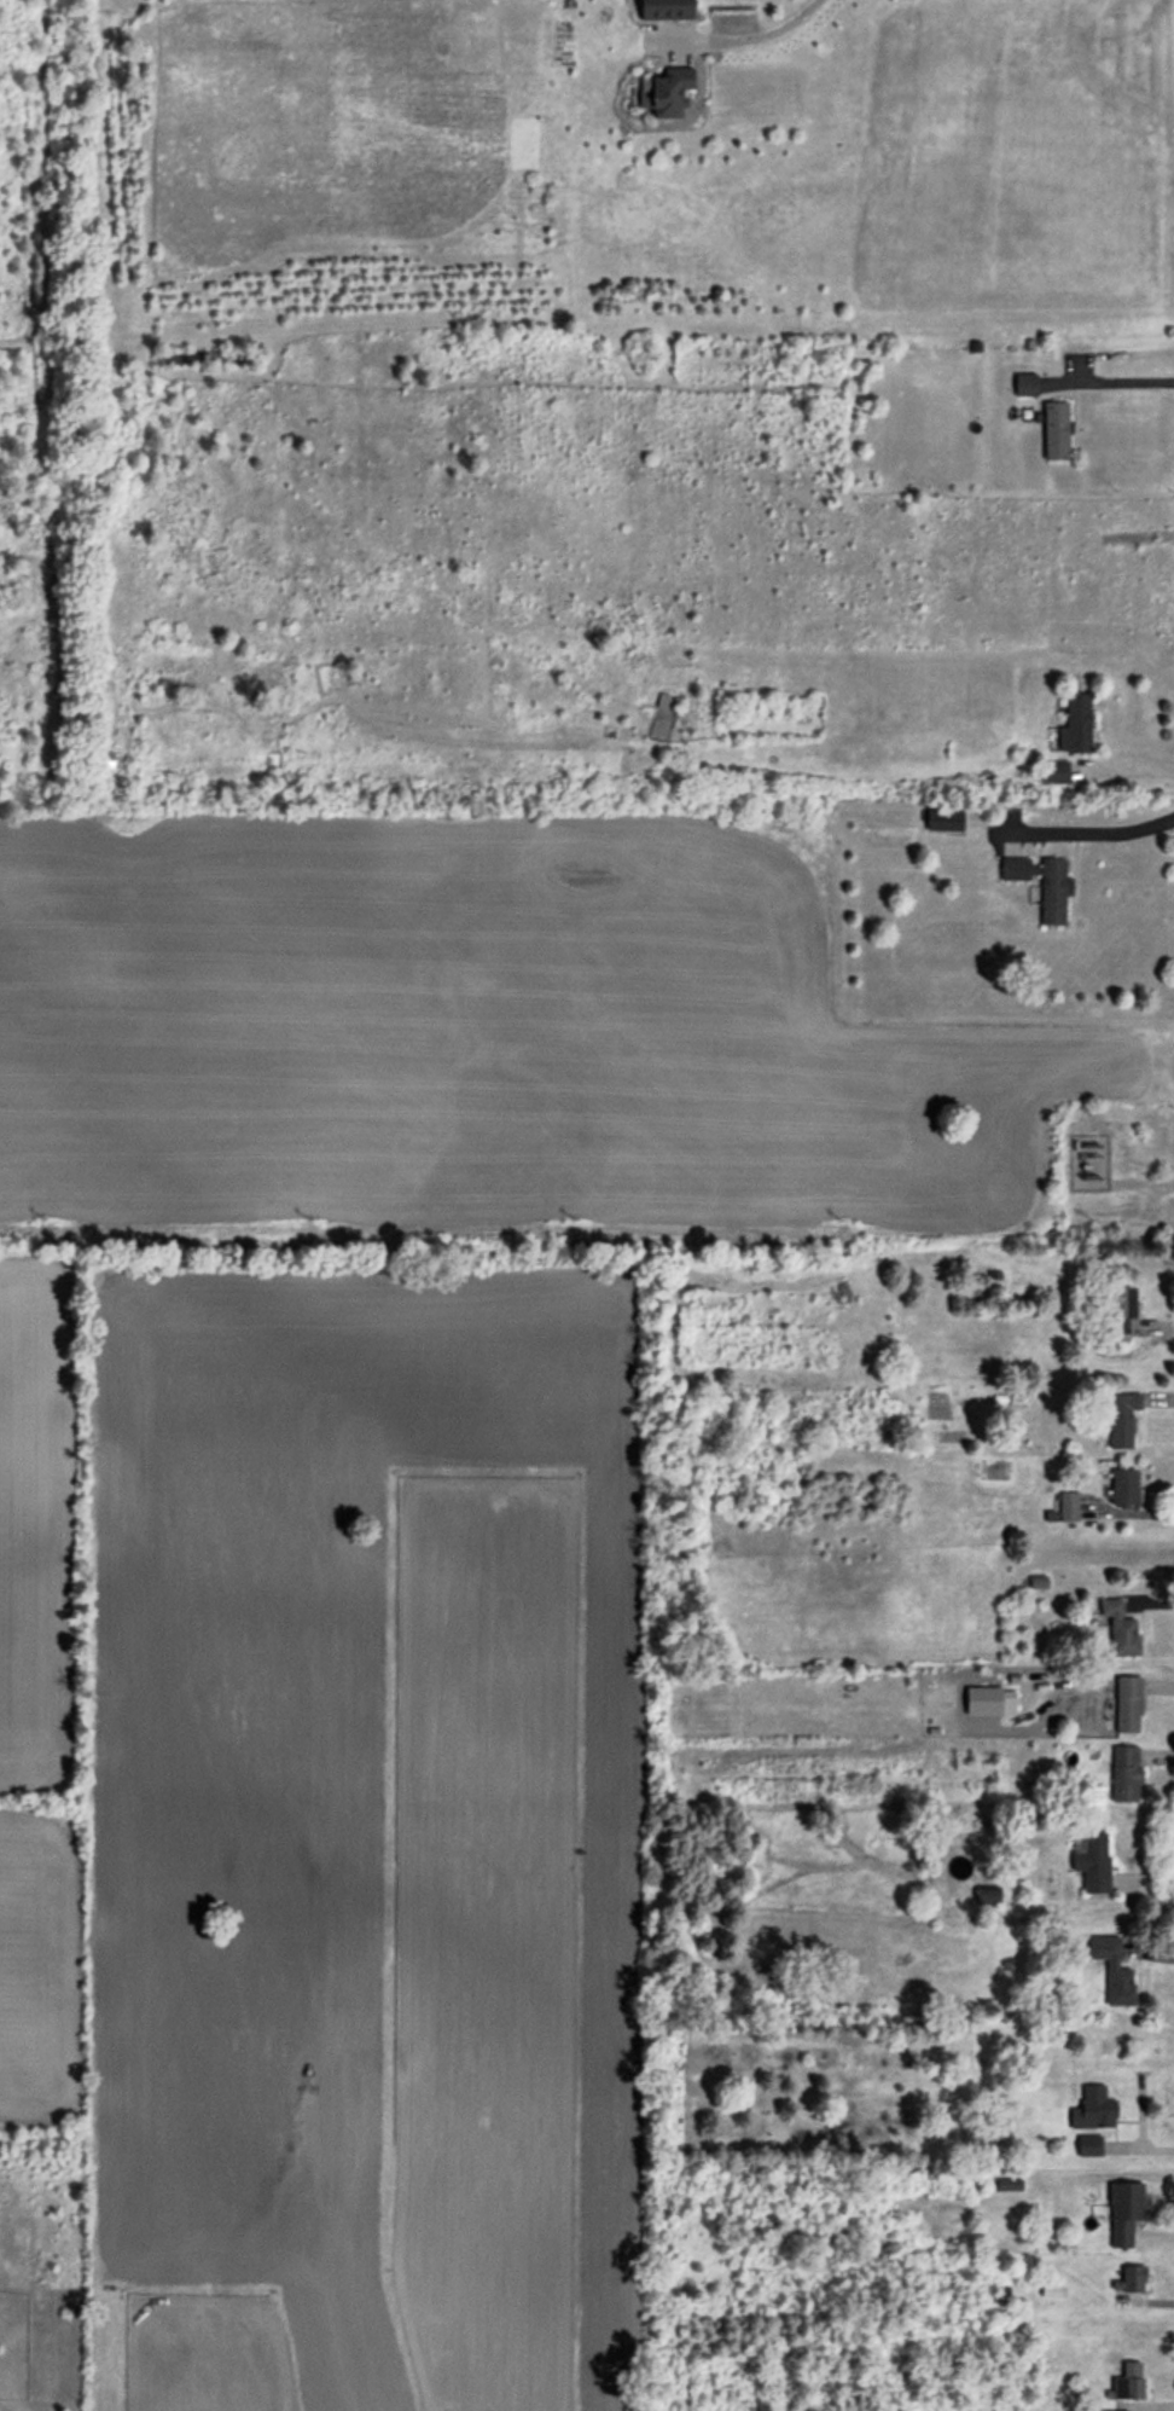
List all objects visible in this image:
building: (663, 10)
road: (754, 30)
building: (666, 93)
road: (1108, 382)
building: (1024, 386)
building: (1054, 431)
building: (1076, 724)
road: (1131, 765)
building: (1052, 773)
building: (943, 821)
road: (1102, 831)
building: (1041, 885)
building: (1120, 1311)
building: (1122, 1421)
building: (1124, 1488)
building: (1069, 1507)
building: (1120, 1630)
building: (1127, 1705)
building: (1124, 1774)
building: (1094, 1864)
road: (1145, 1885)
building: (987, 1896)
building: (1112, 1970)
building: (1093, 2109)
building: (1089, 2145)
building: (1124, 2213)
building: (1131, 2282)
building: (1128, 2382)

